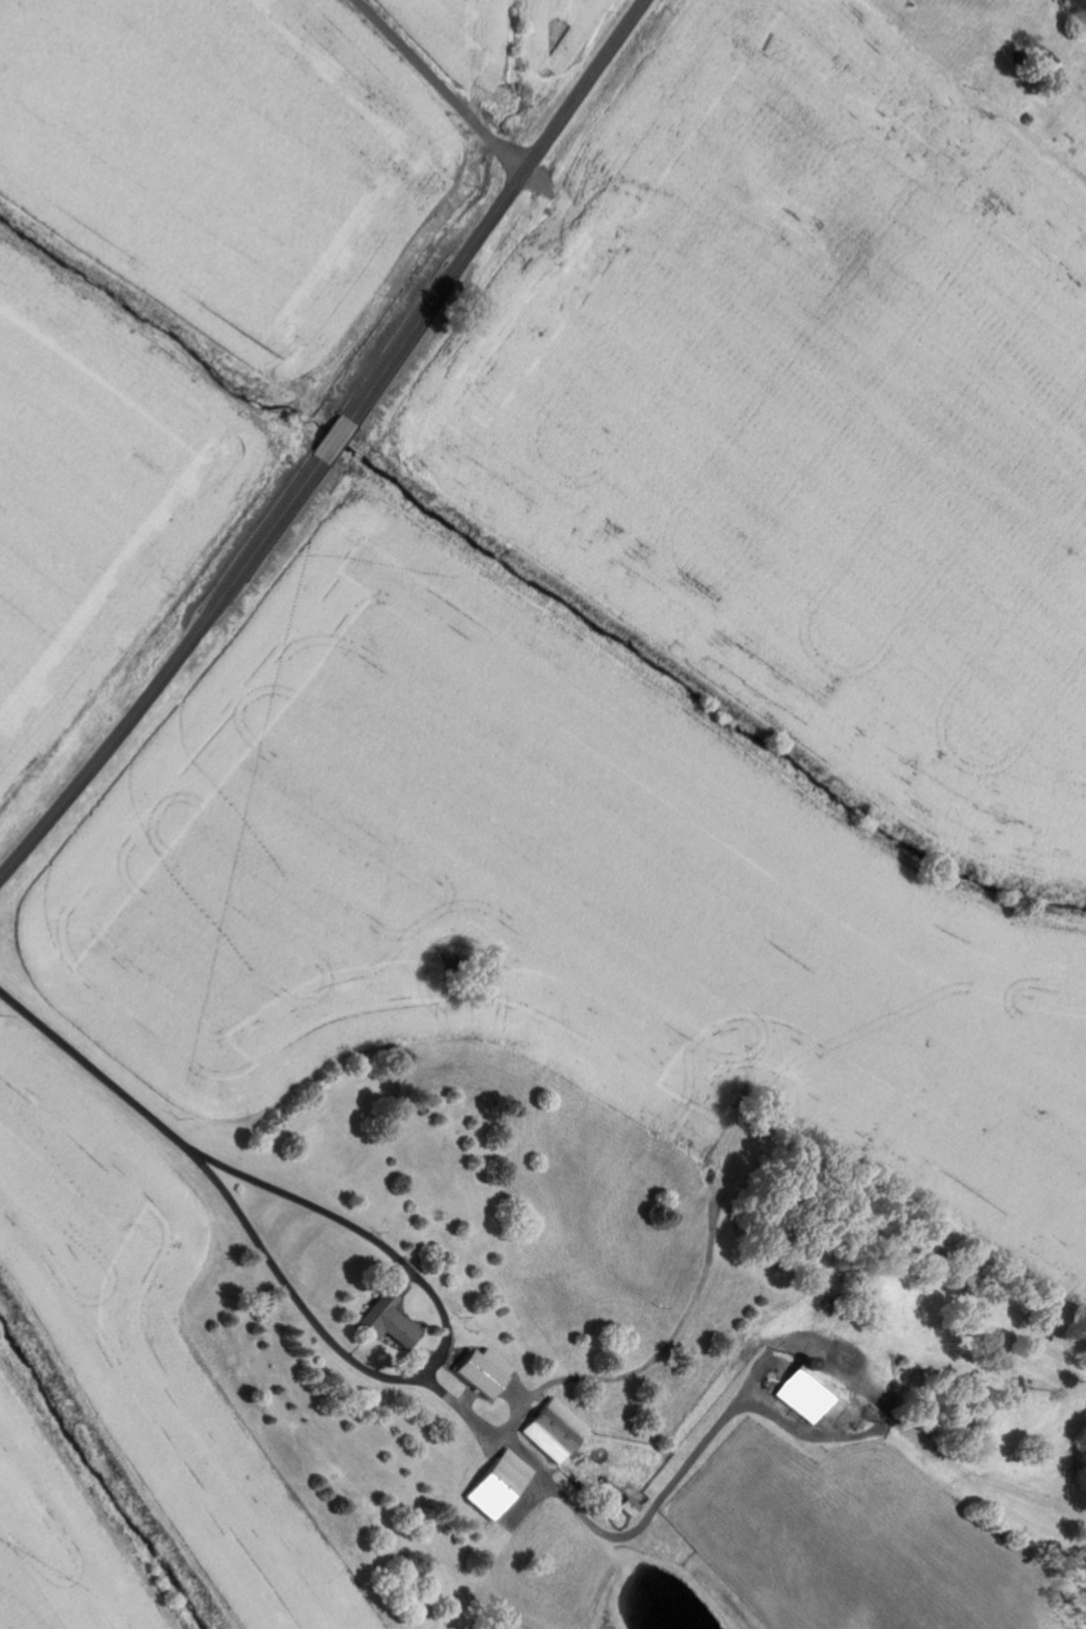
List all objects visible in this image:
building: (1078, 5)
road: (437, 87)
road: (330, 445)
road: (97, 1070)
building: (389, 1317)
road: (328, 1338)
building: (482, 1372)
building: (803, 1395)
building: (553, 1431)
building: (498, 1485)

